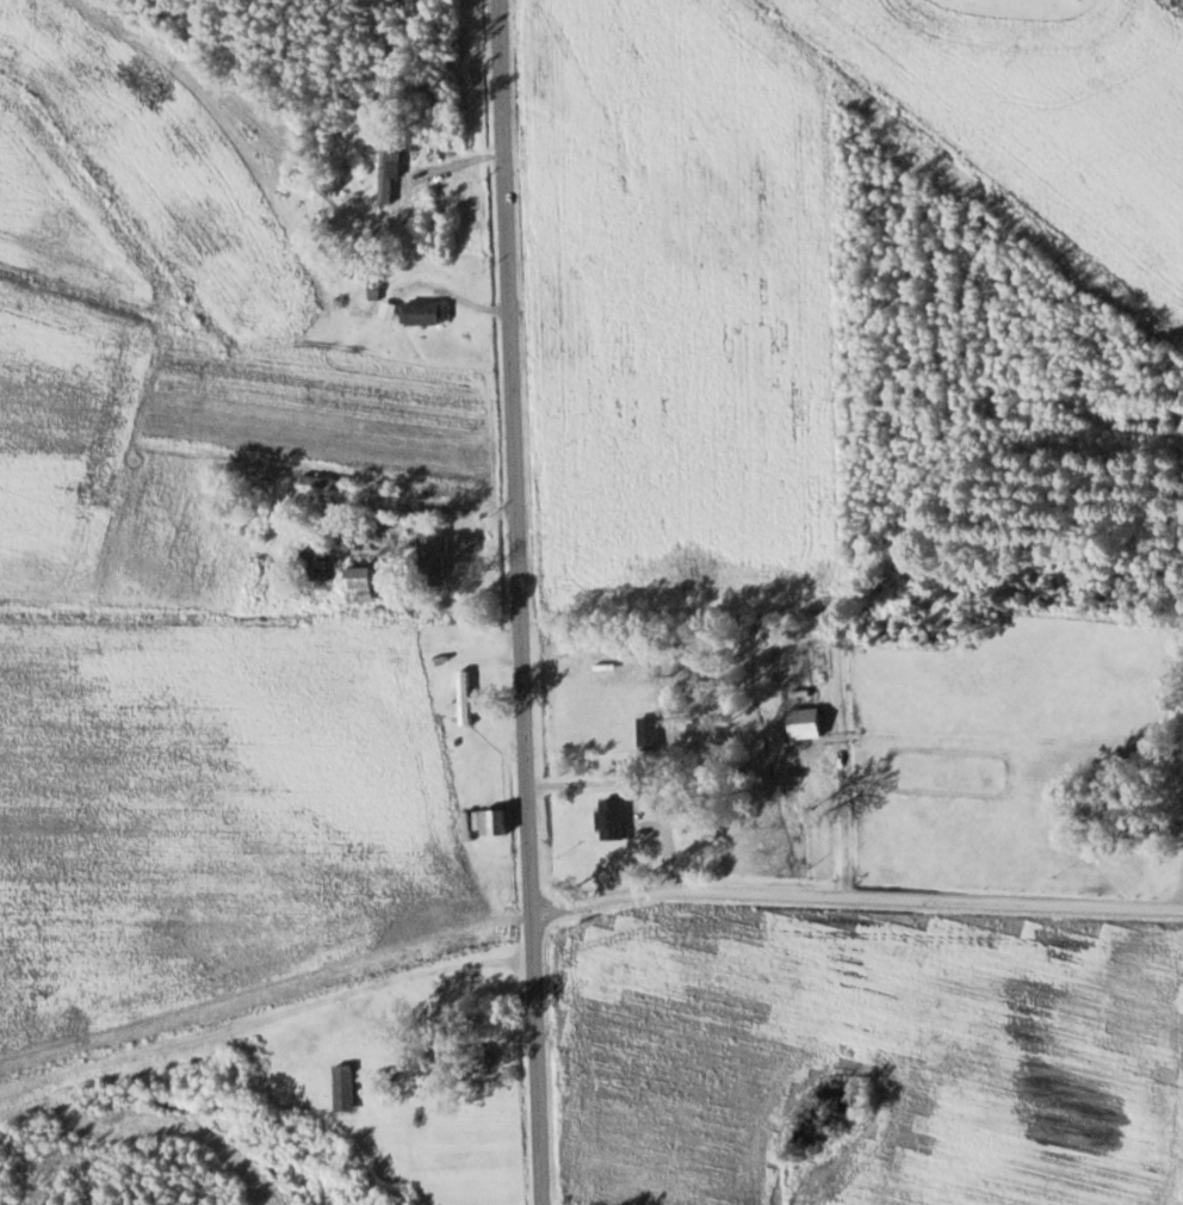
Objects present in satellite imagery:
building: (386, 172)
building: (422, 314)
building: (322, 482)
building: (429, 556)
building: (358, 586)
road: (529, 601)
building: (646, 733)
building: (609, 818)
building: (490, 821)
road: (861, 898)
building: (427, 984)
building: (355, 1015)
building: (476, 1057)
building: (342, 1087)

